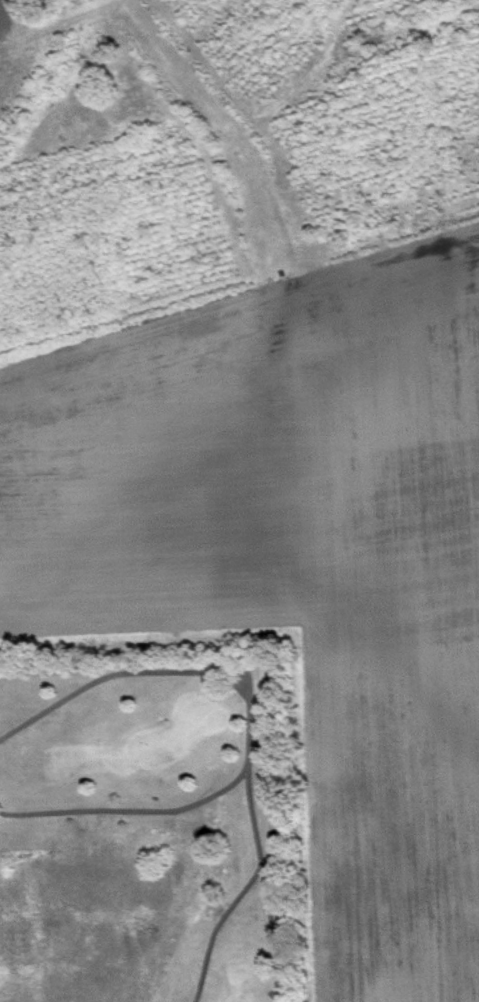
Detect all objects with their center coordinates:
park: (184, 738)
park: (137, 832)

